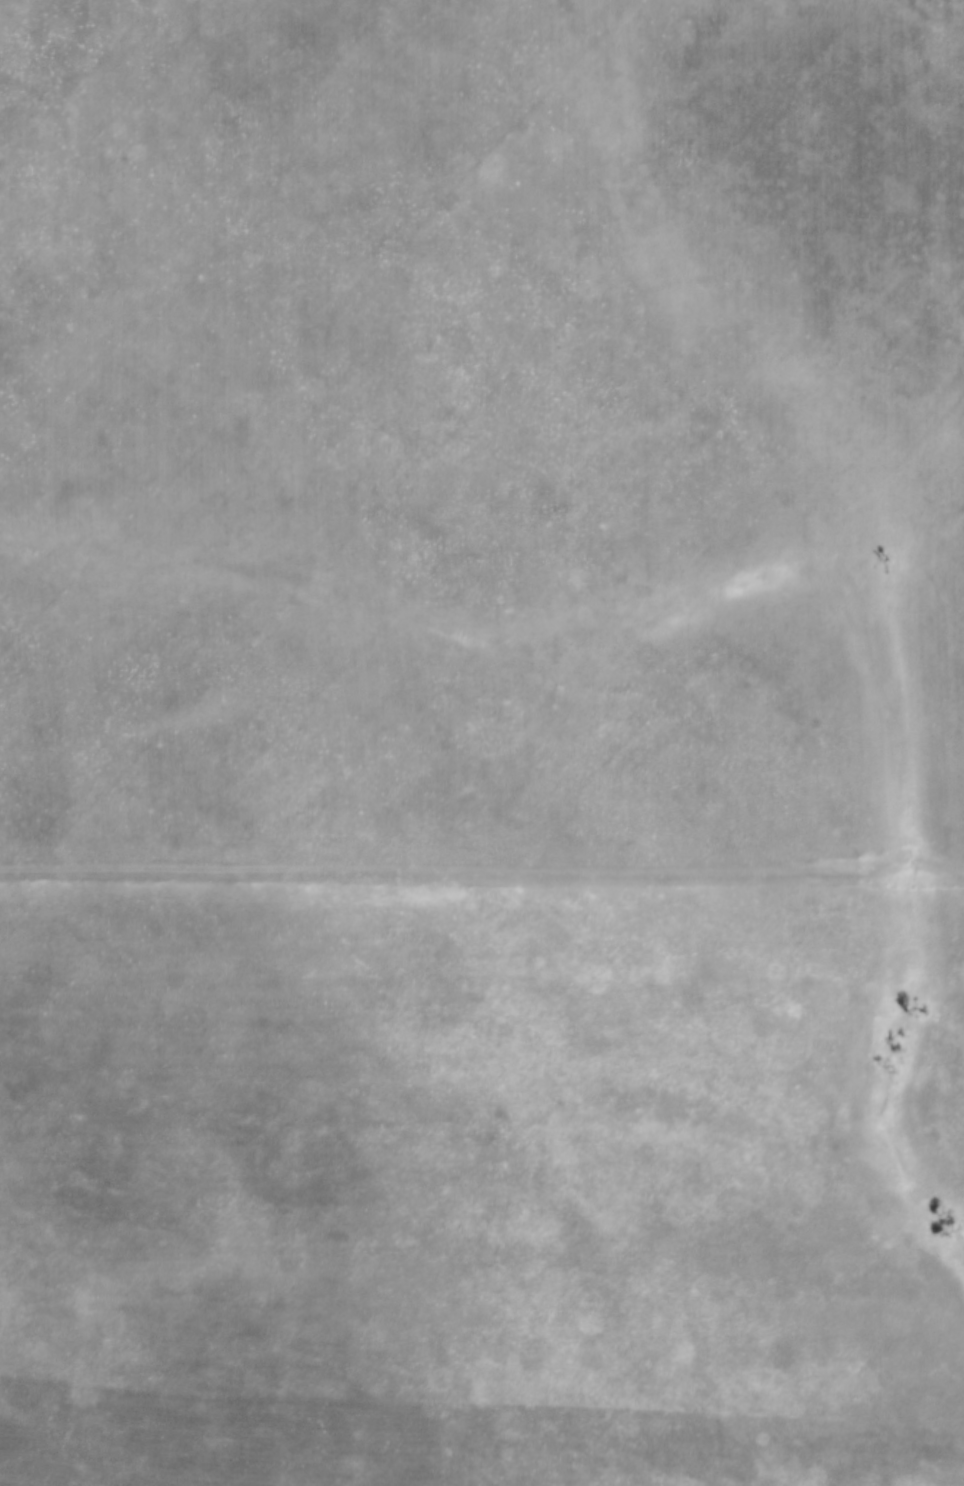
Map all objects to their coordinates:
road: (486, 868)

